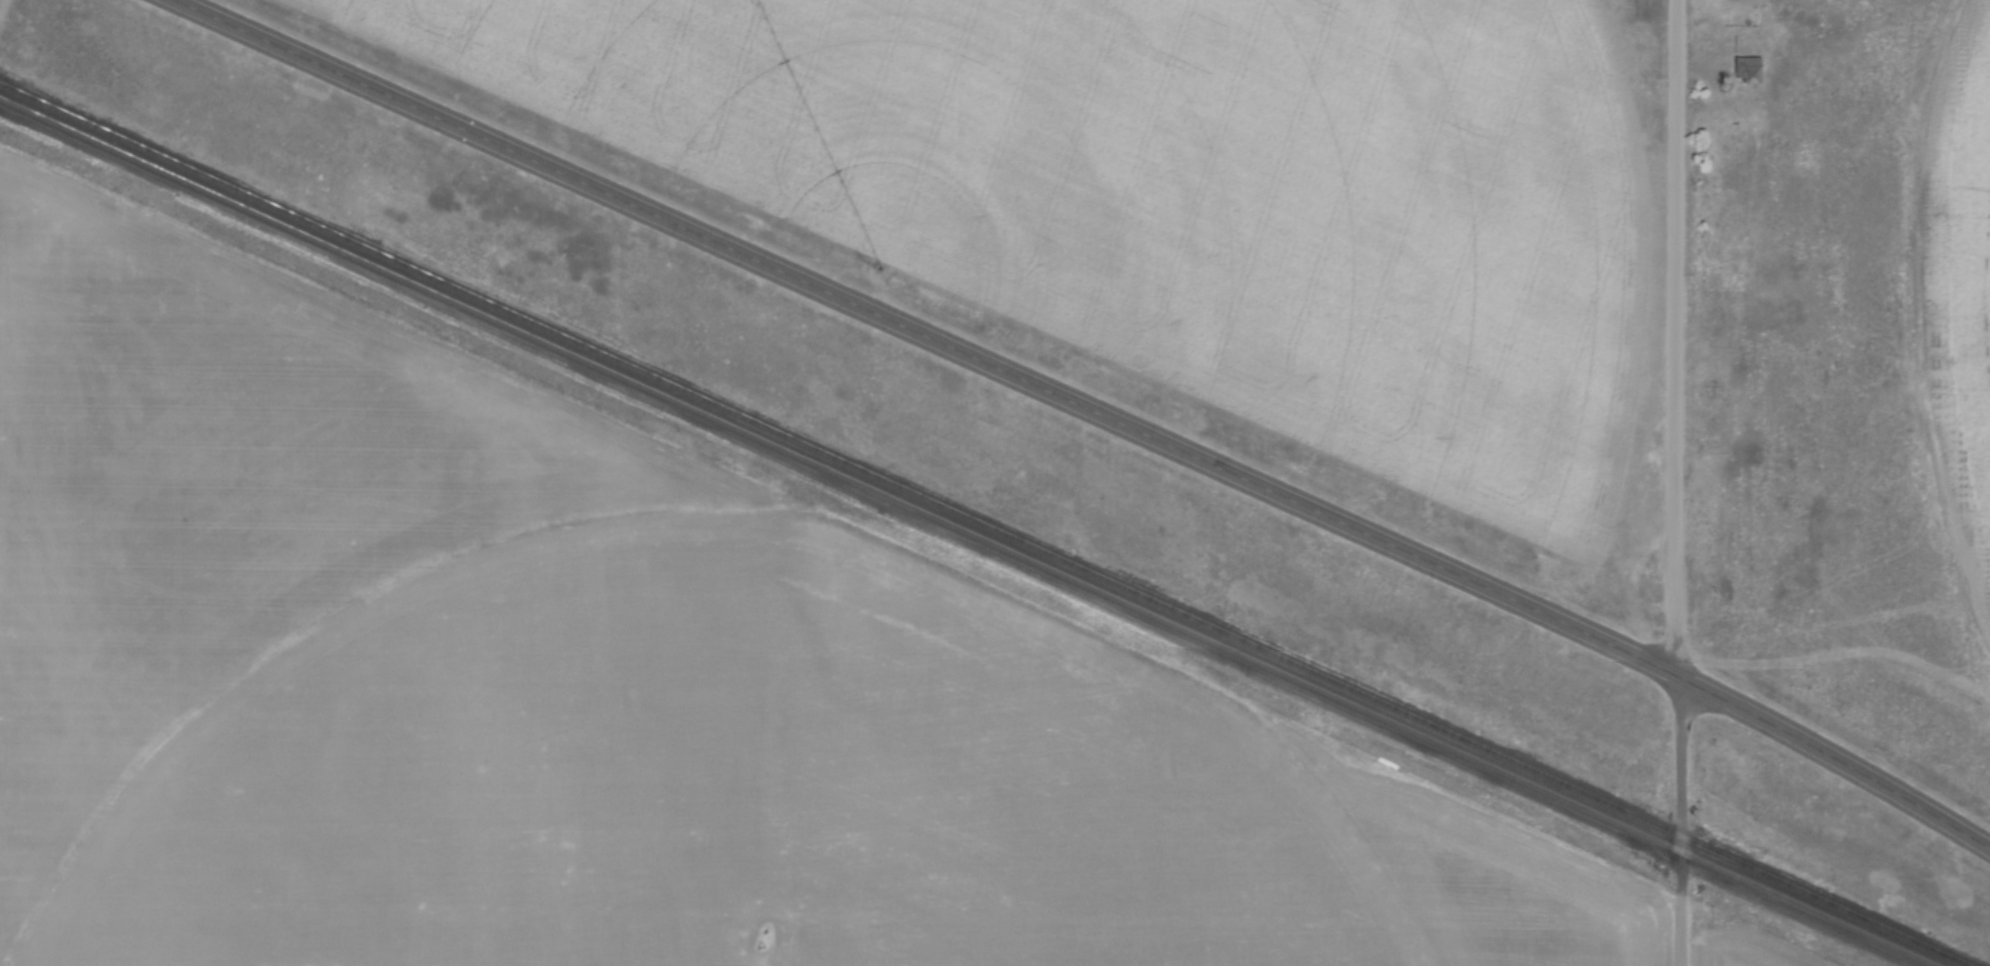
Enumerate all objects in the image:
building: (1743, 69)
road: (1088, 411)
road: (1668, 483)
railway: (984, 525)
railway: (967, 532)

